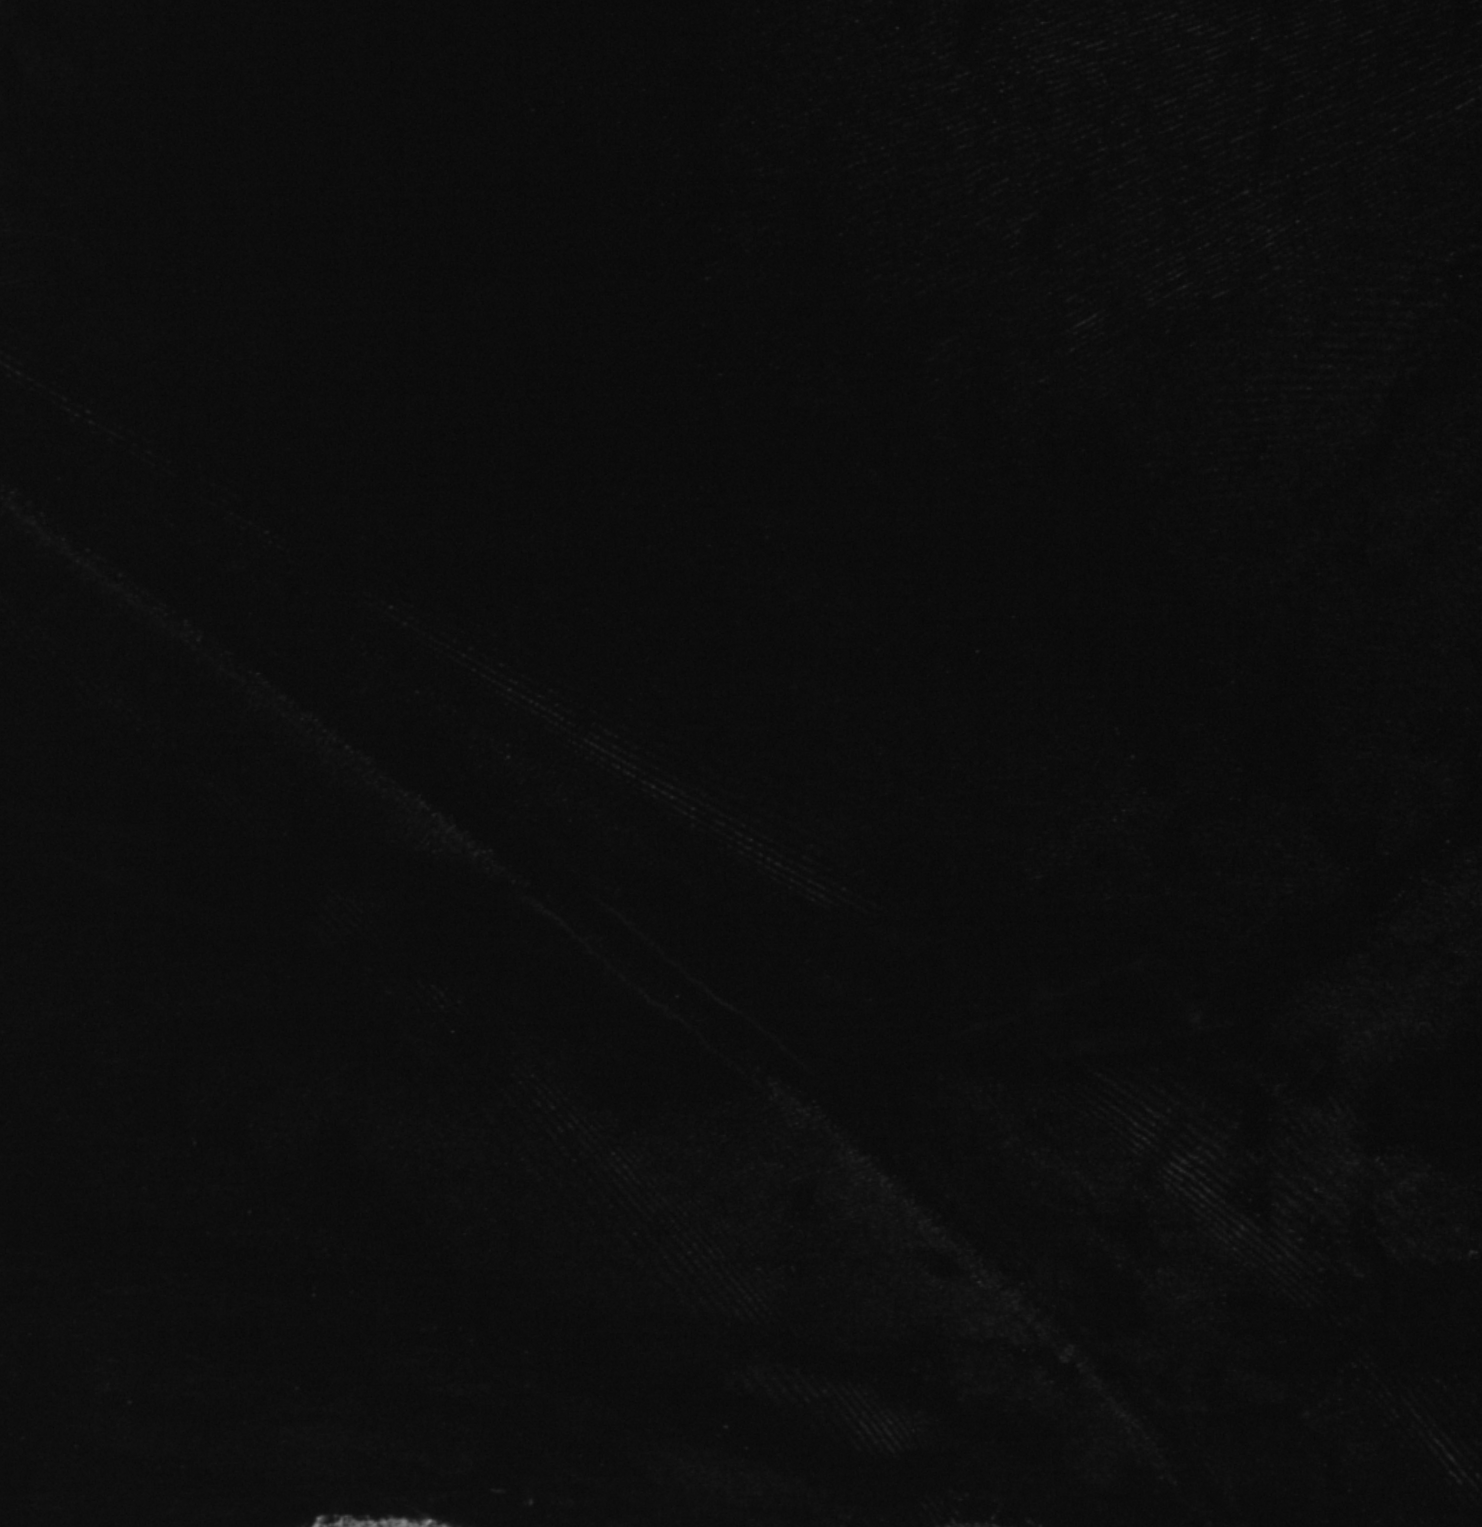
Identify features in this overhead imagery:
river: (154, 5)
park: (1342, 1483)
park: (370, 1489)

